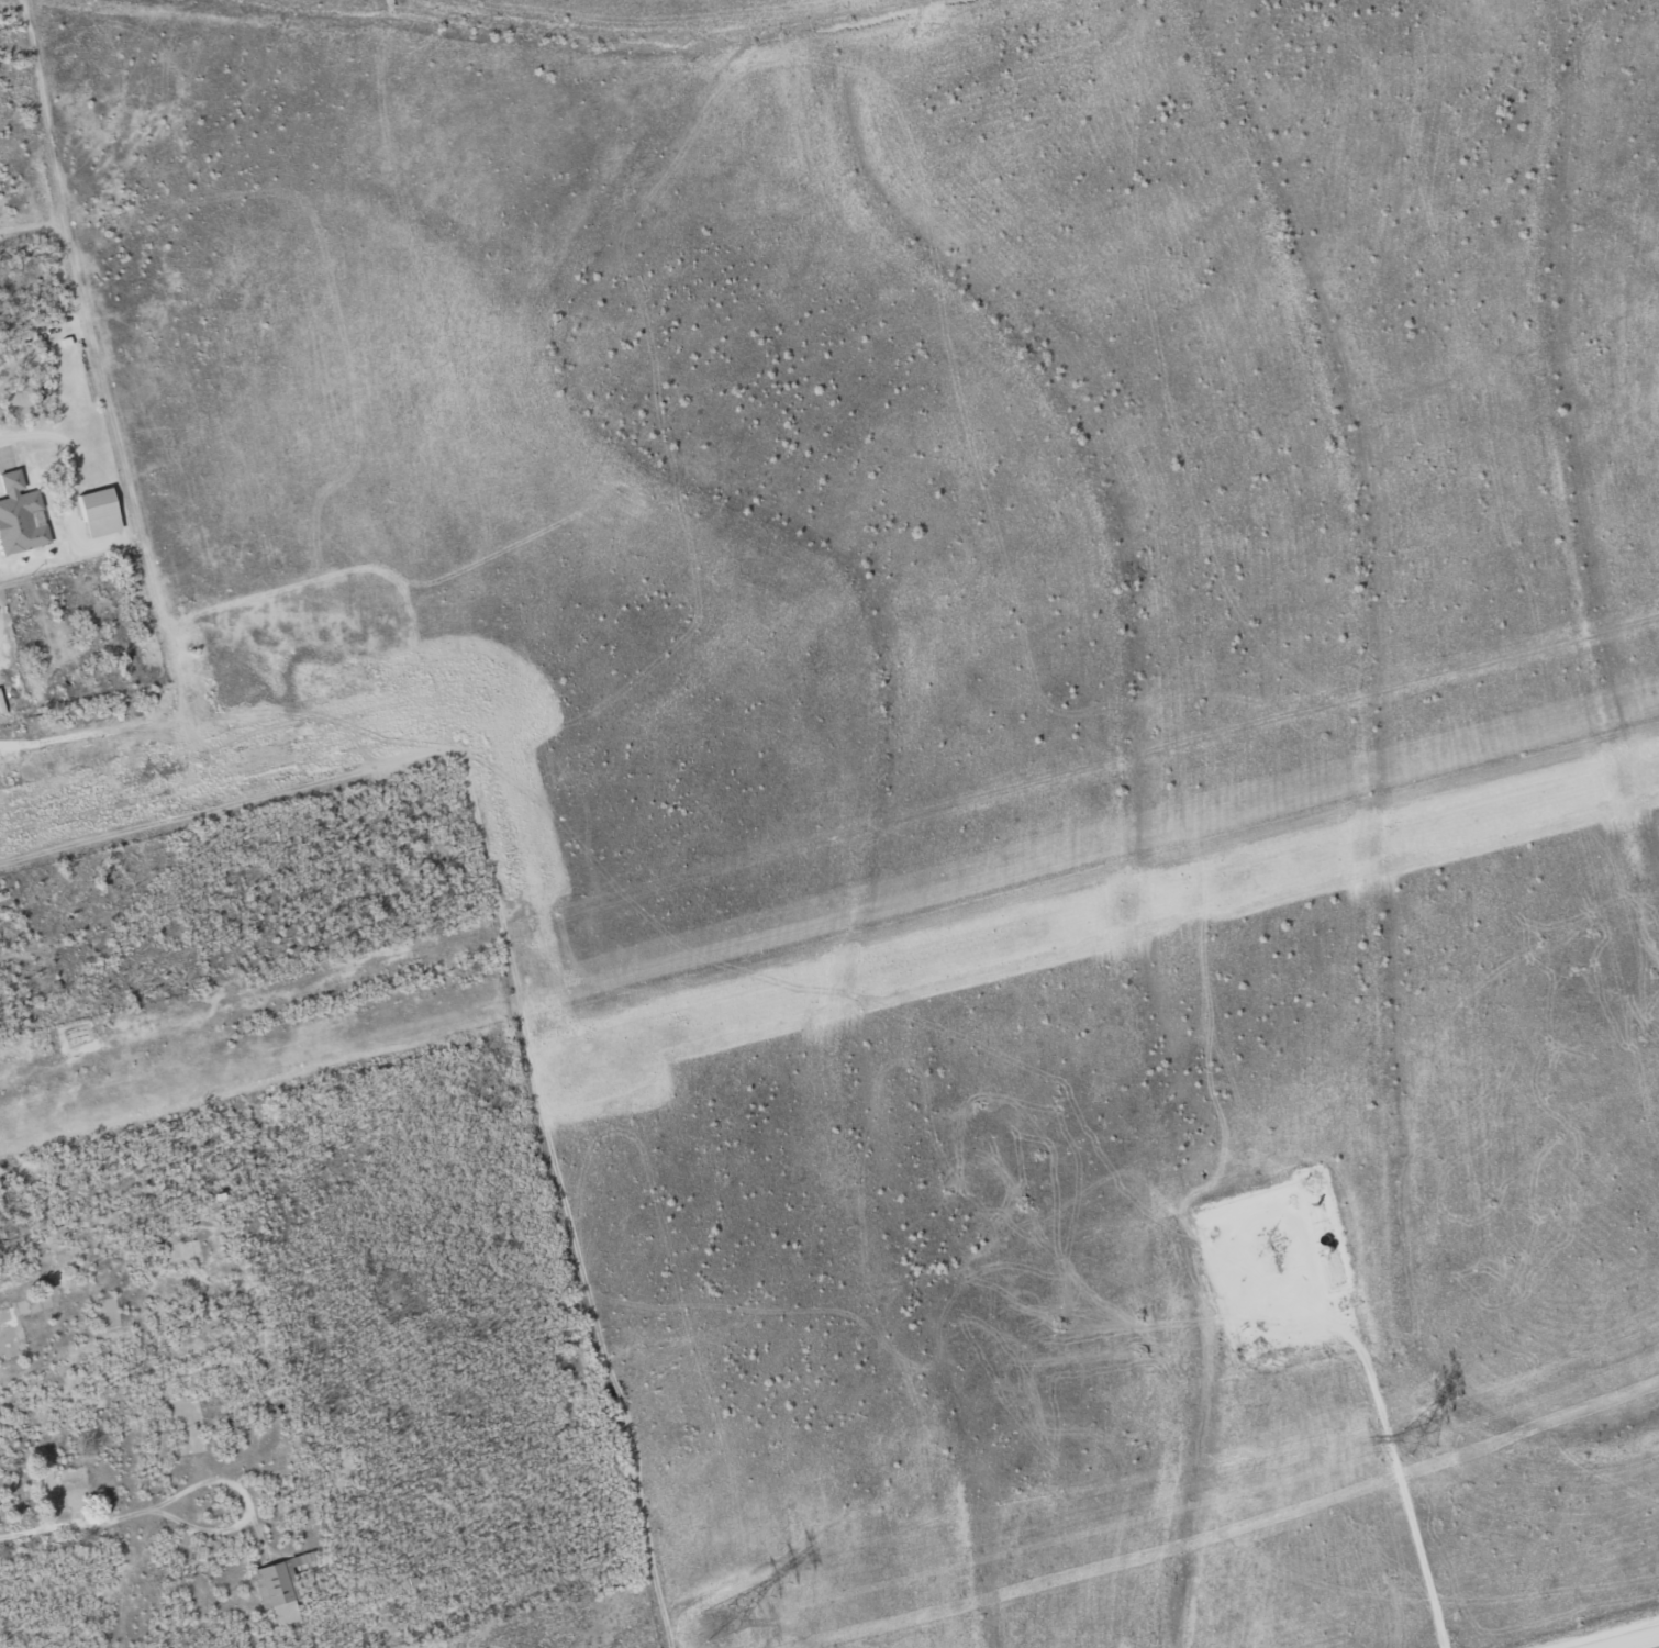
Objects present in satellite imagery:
building: (100, 513)
building: (20, 516)
building: (109, 1312)
building: (14, 1325)
power tower: (1418, 1439)
building: (281, 1588)
power tower: (719, 1624)
road: (1628, 1639)

